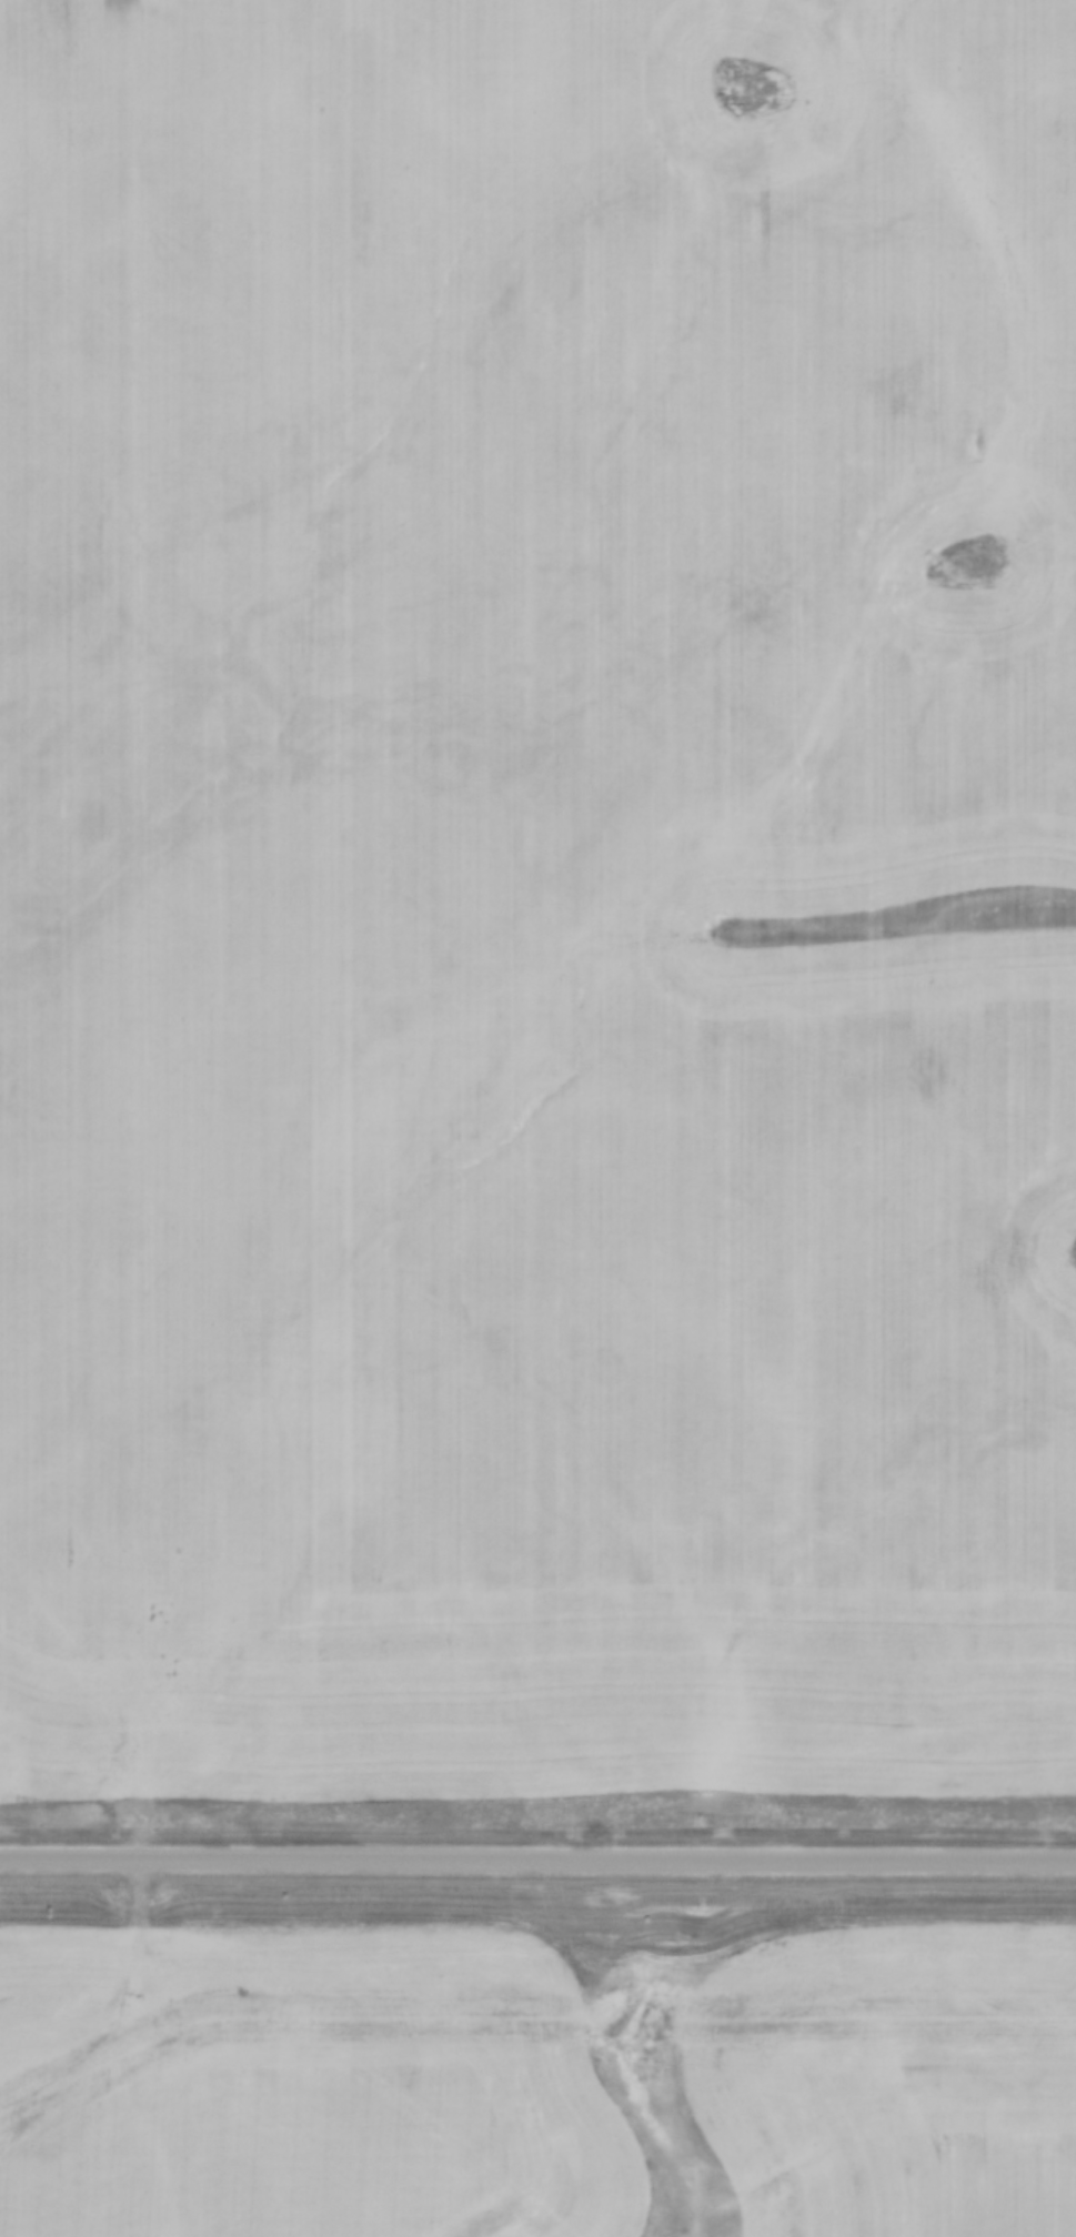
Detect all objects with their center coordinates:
road: (537, 1857)

